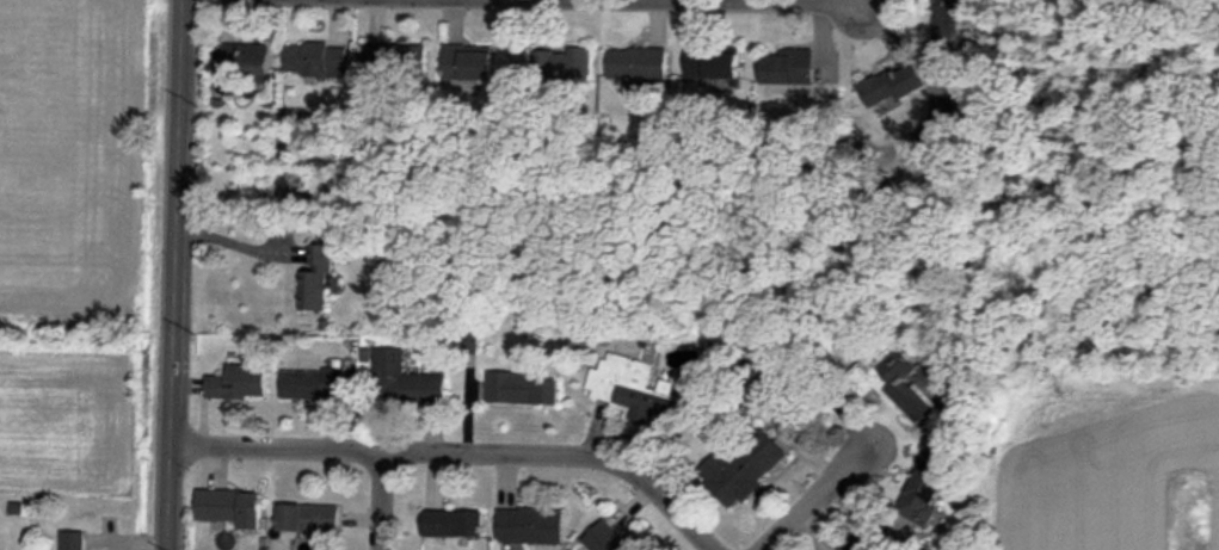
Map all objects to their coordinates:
road: (770, 1)
building: (396, 56)
building: (246, 58)
building: (312, 60)
building: (469, 62)
building: (565, 64)
building: (712, 64)
building: (786, 66)
building: (636, 67)
building: (912, 81)
road: (238, 242)
road: (173, 274)
building: (321, 285)
building: (238, 382)
building: (406, 383)
building: (313, 384)
building: (900, 384)
building: (513, 385)
building: (634, 391)
road: (463, 447)
building: (744, 466)
building: (924, 490)
road: (383, 498)
road: (809, 501)
building: (230, 507)
building: (308, 518)
building: (452, 523)
building: (529, 526)
building: (604, 538)
building: (74, 540)

